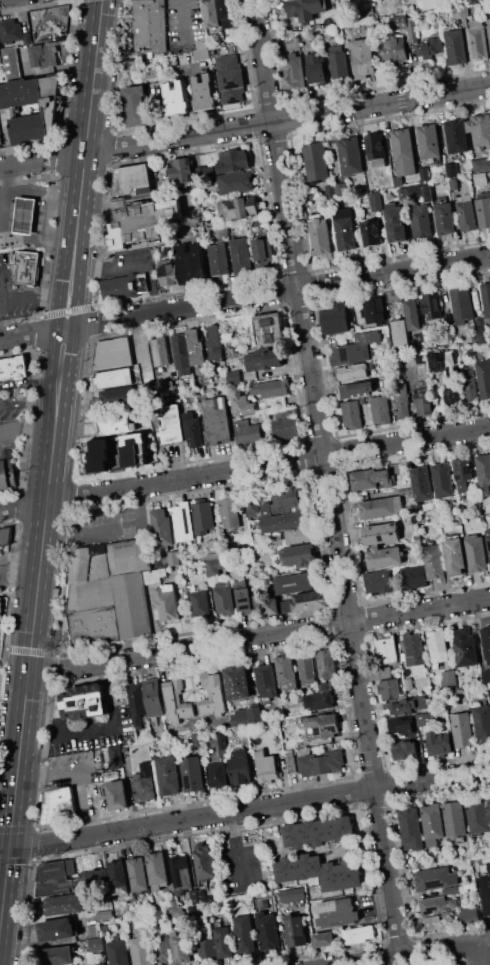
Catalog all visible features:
building: (428, 4)
building: (305, 9)
building: (460, 12)
building: (211, 13)
building: (227, 13)
building: (397, 22)
road: (183, 23)
building: (150, 25)
building: (489, 30)
building: (10, 31)
building: (412, 31)
building: (226, 37)
building: (27, 38)
building: (477, 41)
building: (429, 46)
building: (455, 46)
building: (201, 50)
building: (218, 51)
building: (393, 51)
building: (44, 54)
building: (1, 57)
building: (363, 58)
building: (338, 61)
building: (11, 62)
building: (316, 68)
building: (294, 71)
building: (230, 79)
building: (203, 92)
building: (176, 98)
building: (10, 106)
building: (136, 106)
road: (244, 126)
building: (480, 128)
building: (456, 135)
building: (429, 141)
building: (376, 149)
building: (404, 152)
building: (350, 155)
building: (233, 161)
building: (316, 162)
building: (481, 164)
building: (181, 170)
building: (451, 170)
building: (201, 172)
building: (489, 173)
building: (424, 174)
building: (480, 178)
building: (132, 181)
building: (408, 181)
building: (235, 182)
building: (454, 184)
building: (340, 189)
building: (330, 190)
building: (428, 194)
building: (403, 195)
building: (312, 196)
building: (375, 201)
building: (237, 208)
building: (483, 209)
building: (25, 215)
building: (467, 216)
building: (444, 218)
building: (421, 221)
building: (395, 222)
building: (142, 223)
building: (254, 223)
building: (344, 229)
building: (223, 231)
building: (371, 232)
building: (320, 236)
building: (262, 253)
building: (242, 257)
building: (218, 259)
road: (136, 263)
building: (190, 264)
building: (27, 266)
building: (168, 274)
building: (123, 286)
road: (34, 295)
road: (244, 297)
building: (486, 298)
building: (462, 304)
building: (432, 305)
building: (374, 311)
building: (413, 314)
building: (335, 318)
building: (482, 329)
building: (270, 330)
building: (400, 332)
building: (215, 344)
building: (195, 347)
building: (355, 349)
building: (159, 351)
building: (112, 353)
building: (181, 353)
building: (420, 359)
building: (264, 360)
building: (443, 360)
building: (13, 367)
building: (352, 371)
building: (233, 377)
building: (112, 378)
building: (484, 378)
road: (30, 382)
building: (469, 384)
building: (167, 386)
building: (271, 388)
building: (356, 389)
building: (113, 397)
building: (453, 398)
building: (401, 400)
building: (423, 401)
road: (28, 403)
building: (242, 405)
building: (380, 410)
building: (352, 414)
building: (218, 420)
building: (171, 423)
building: (116, 424)
building: (285, 428)
building: (194, 429)
road: (27, 430)
building: (247, 431)
building: (133, 450)
building: (95, 457)
road: (49, 465)
road: (244, 468)
building: (462, 472)
building: (483, 473)
building: (3, 475)
road: (327, 477)
building: (364, 479)
building: (442, 480)
building: (419, 484)
building: (288, 499)
building: (477, 505)
building: (252, 507)
building: (380, 507)
building: (266, 508)
building: (229, 513)
building: (203, 518)
building: (413, 518)
building: (183, 521)
building: (284, 521)
building: (457, 522)
road: (102, 524)
building: (161, 529)
building: (384, 533)
building: (5, 535)
building: (299, 535)
building: (488, 538)
building: (260, 542)
building: (215, 545)
building: (476, 553)
road: (20, 555)
building: (298, 555)
building: (454, 556)
building: (384, 557)
building: (173, 558)
building: (433, 561)
building: (216, 566)
building: (415, 577)
building: (378, 581)
building: (292, 583)
building: (0, 588)
building: (110, 593)
building: (224, 598)
building: (245, 598)
building: (310, 601)
building: (199, 602)
building: (166, 603)
building: (270, 606)
building: (285, 606)
building: (1, 611)
road: (259, 635)
building: (486, 642)
building: (437, 645)
building: (465, 647)
building: (414, 649)
building: (386, 650)
building: (327, 662)
building: (307, 668)
building: (286, 671)
building: (385, 671)
building: (484, 676)
building: (449, 679)
building: (266, 681)
building: (237, 682)
building: (408, 684)
building: (325, 686)
building: (390, 689)
building: (212, 694)
building: (153, 697)
building: (320, 700)
building: (82, 701)
building: (176, 701)
building: (136, 703)
building: (409, 706)
building: (246, 716)
road: (116, 723)
building: (482, 723)
building: (322, 725)
building: (402, 725)
building: (462, 730)
building: (287, 733)
building: (196, 740)
building: (221, 741)
building: (290, 742)
building: (439, 743)
building: (153, 744)
building: (405, 750)
building: (115, 757)
building: (290, 761)
building: (321, 763)
building: (266, 767)
parking lot: (75, 768)
building: (241, 770)
road: (45, 774)
building: (167, 774)
building: (192, 774)
building: (217, 774)
building: (143, 783)
building: (117, 795)
building: (488, 802)
road: (79, 803)
building: (58, 805)
road: (245, 810)
building: (477, 815)
building: (455, 819)
building: (432, 823)
building: (411, 829)
building: (319, 833)
traffic signals: (9, 845)
road: (236, 851)
building: (205, 862)
building: (157, 868)
building: (319, 871)
building: (117, 874)
building: (138, 874)
building: (179, 874)
building: (57, 878)
building: (94, 878)
building: (435, 878)
building: (451, 890)
building: (486, 894)
building: (292, 895)
building: (194, 896)
building: (65, 904)
building: (436, 904)
building: (176, 908)
building: (337, 912)
building: (104, 914)
building: (160, 914)
building: (469, 915)
building: (437, 922)
building: (204, 927)
building: (57, 929)
building: (93, 930)
building: (104, 930)
building: (268, 930)
building: (295, 931)
building: (244, 933)
building: (358, 934)
building: (323, 939)
road: (485, 939)
building: (223, 942)
road: (485, 943)
building: (95, 944)
building: (180, 948)
building: (141, 949)
building: (163, 949)
building: (206, 949)
building: (118, 952)
road: (412, 953)
road: (479, 953)
building: (57, 956)
building: (92, 963)
building: (101, 963)

